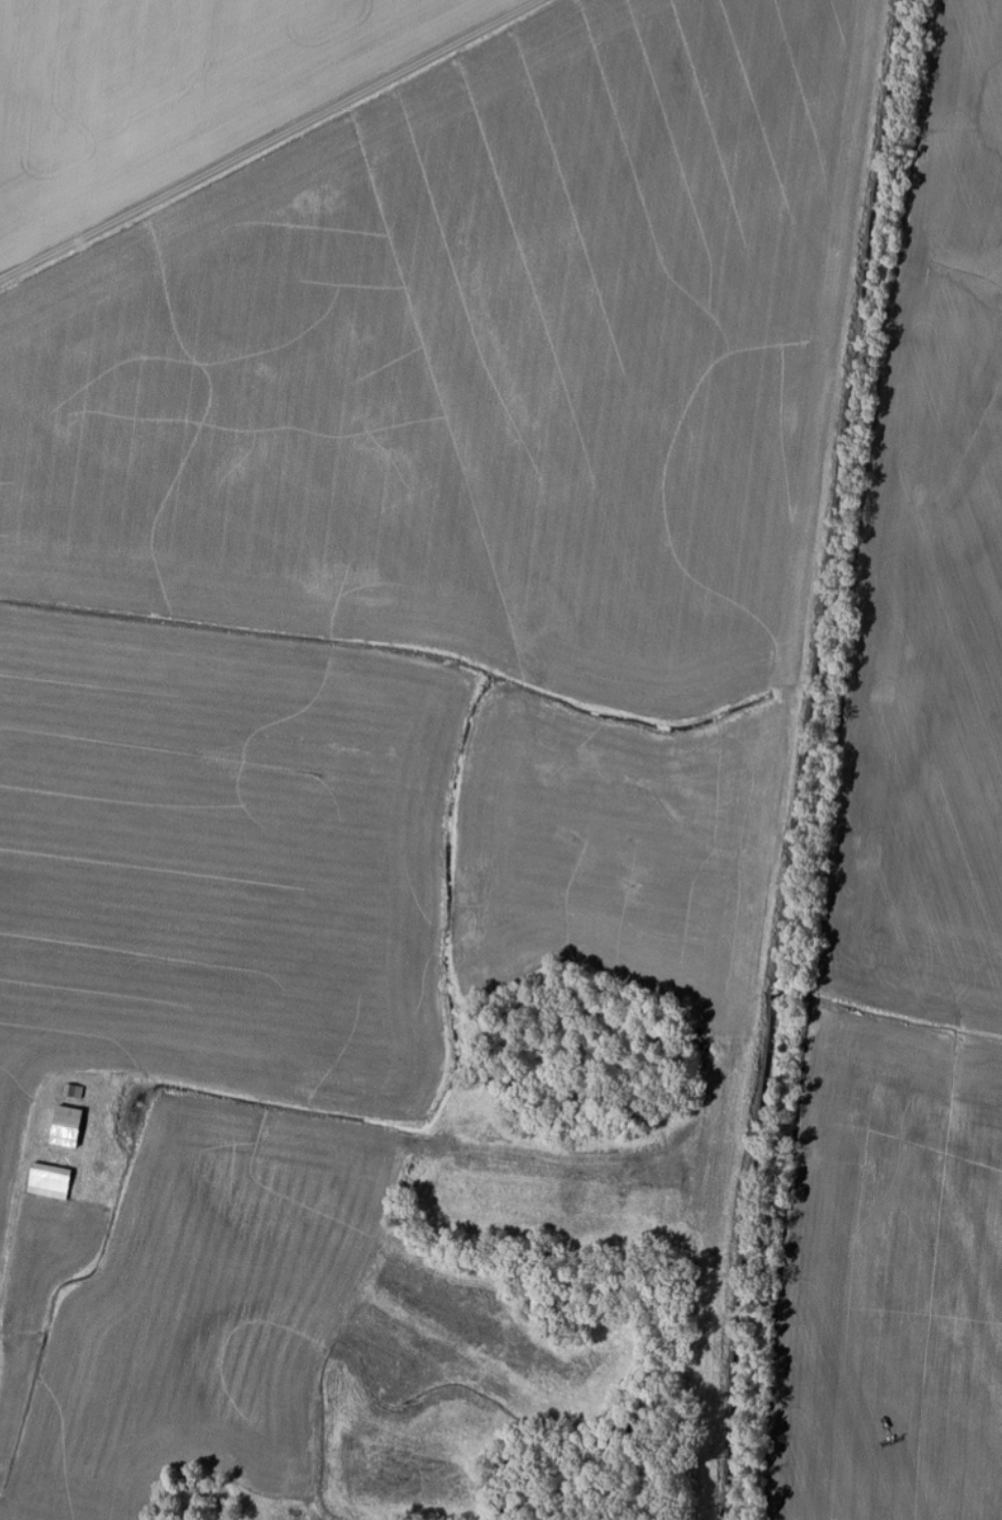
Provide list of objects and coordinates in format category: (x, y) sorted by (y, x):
road: (270, 141)
building: (62, 1128)
building: (47, 1182)

